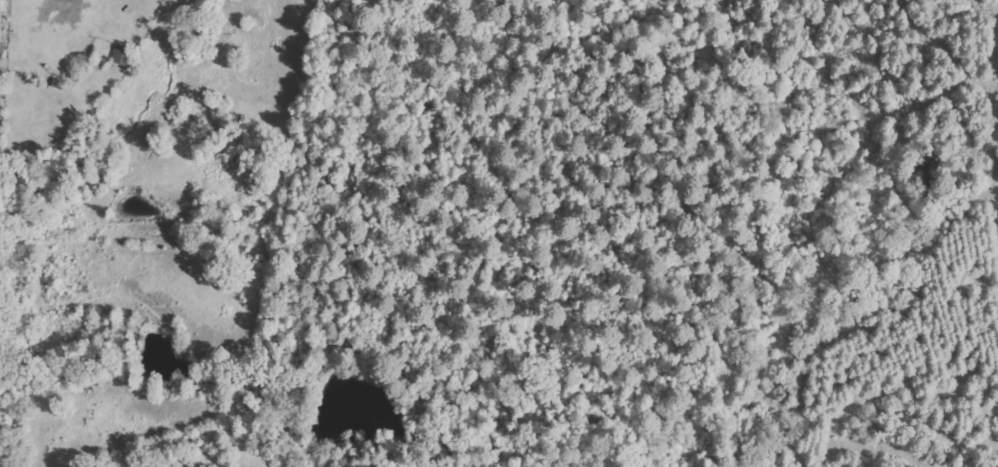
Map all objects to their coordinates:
building: (123, 54)

